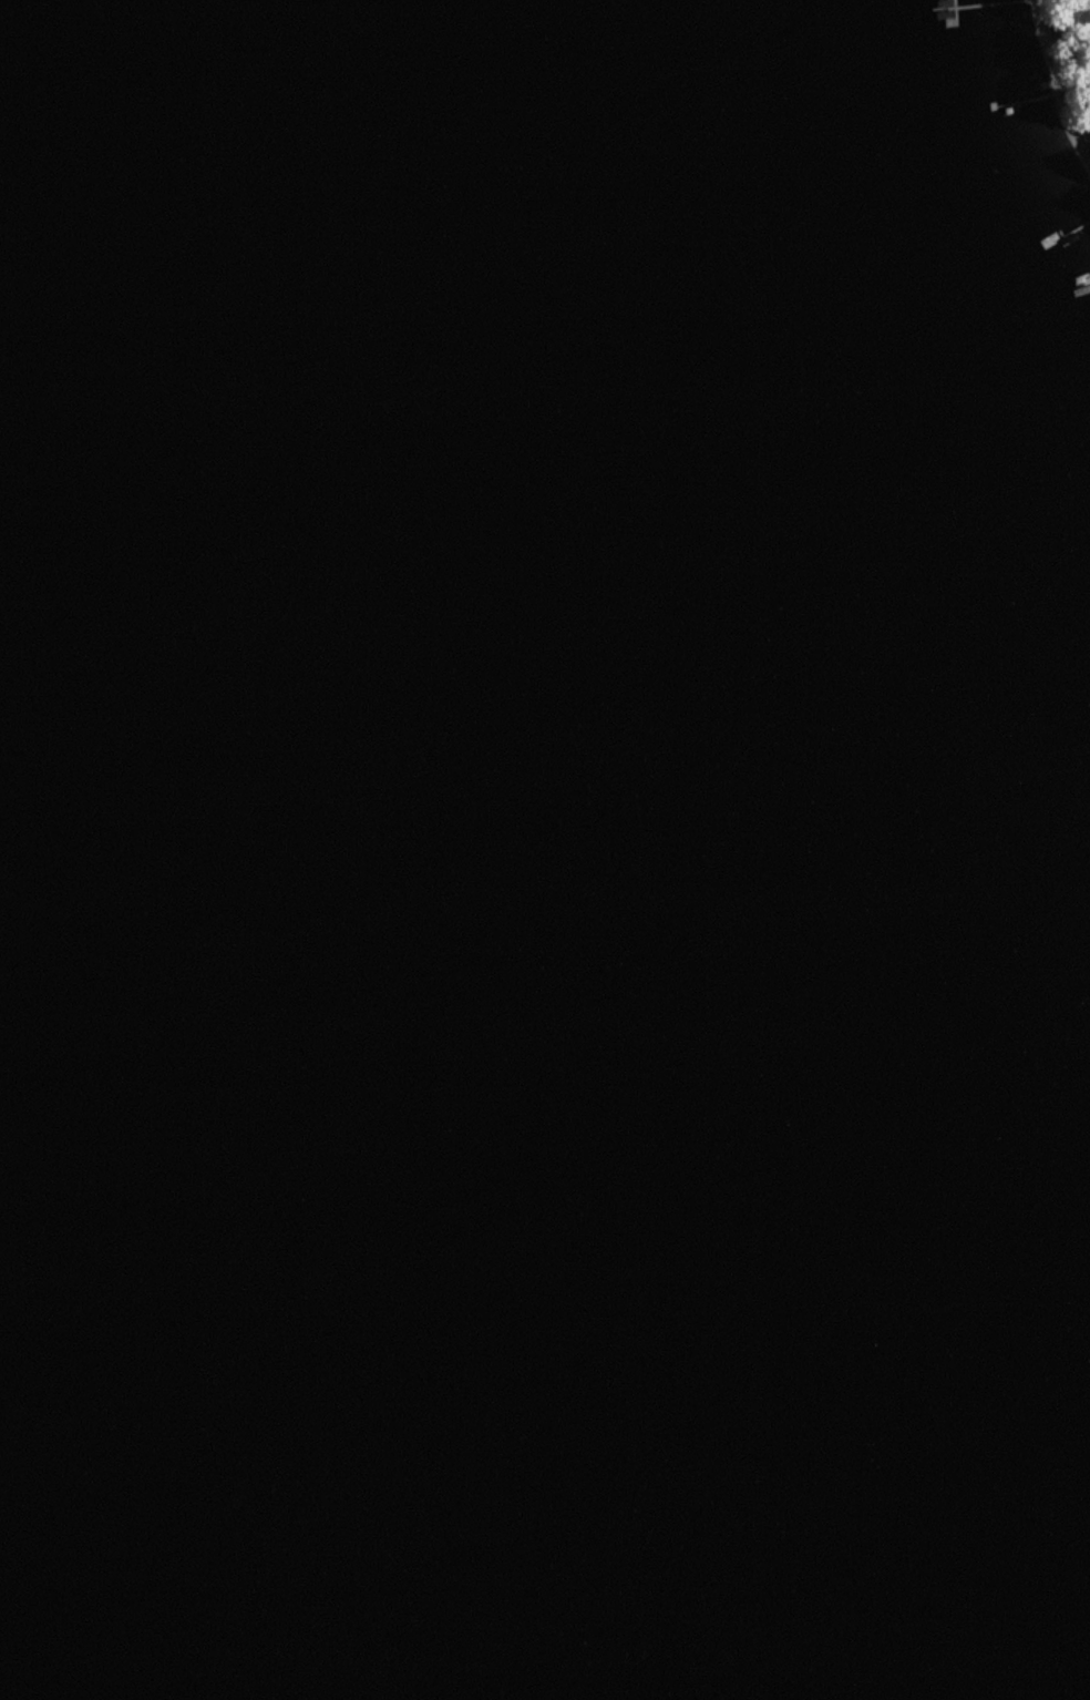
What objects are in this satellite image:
building: (1072, 22)
building: (1081, 83)
building: (1088, 145)

